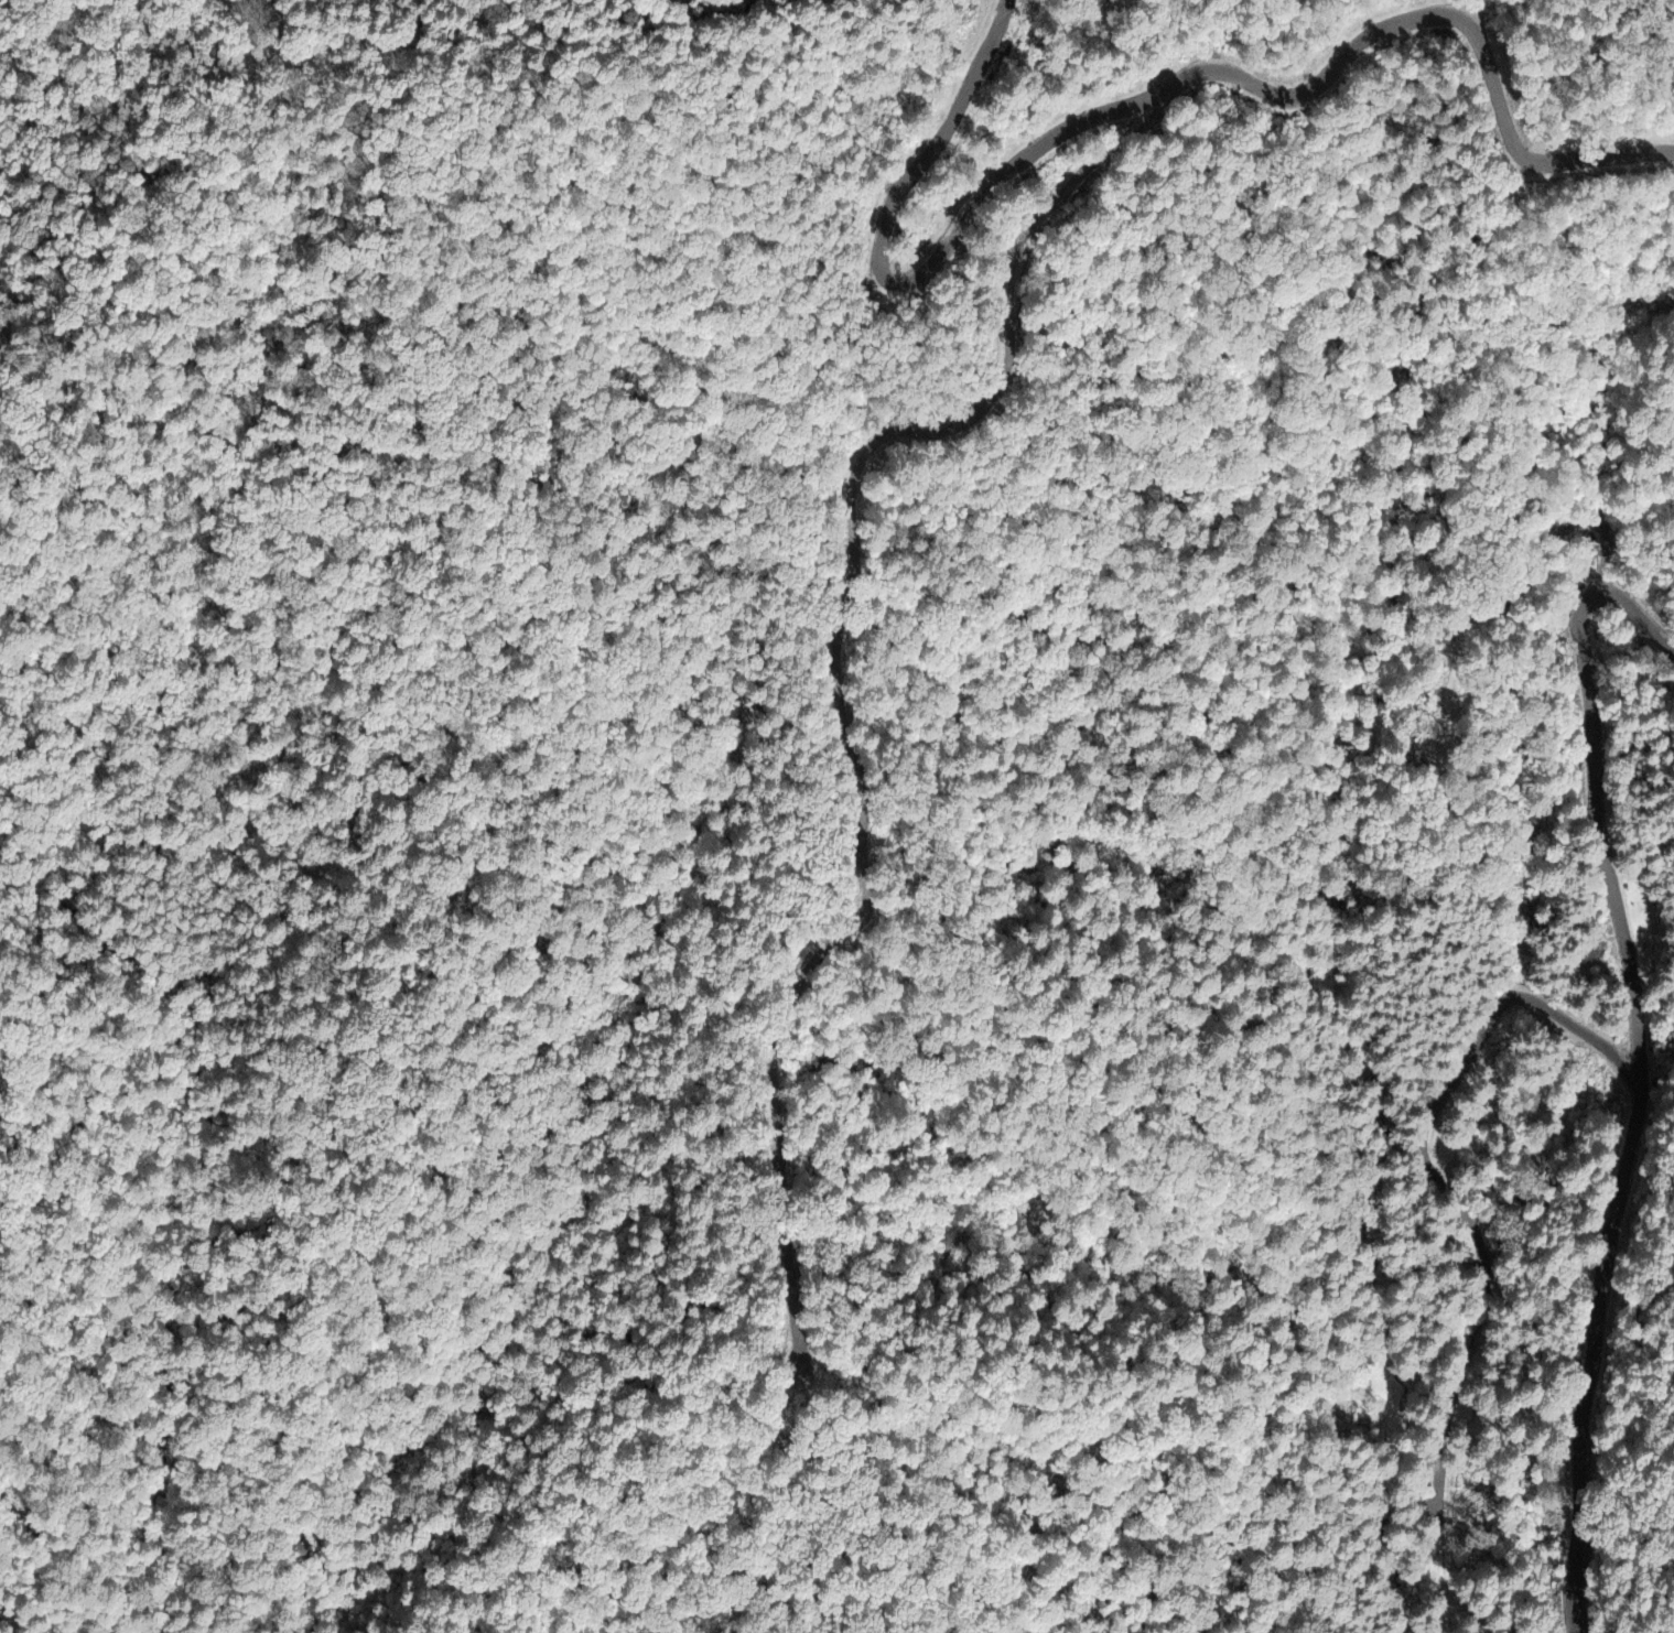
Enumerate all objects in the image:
road: (1638, 1063)

